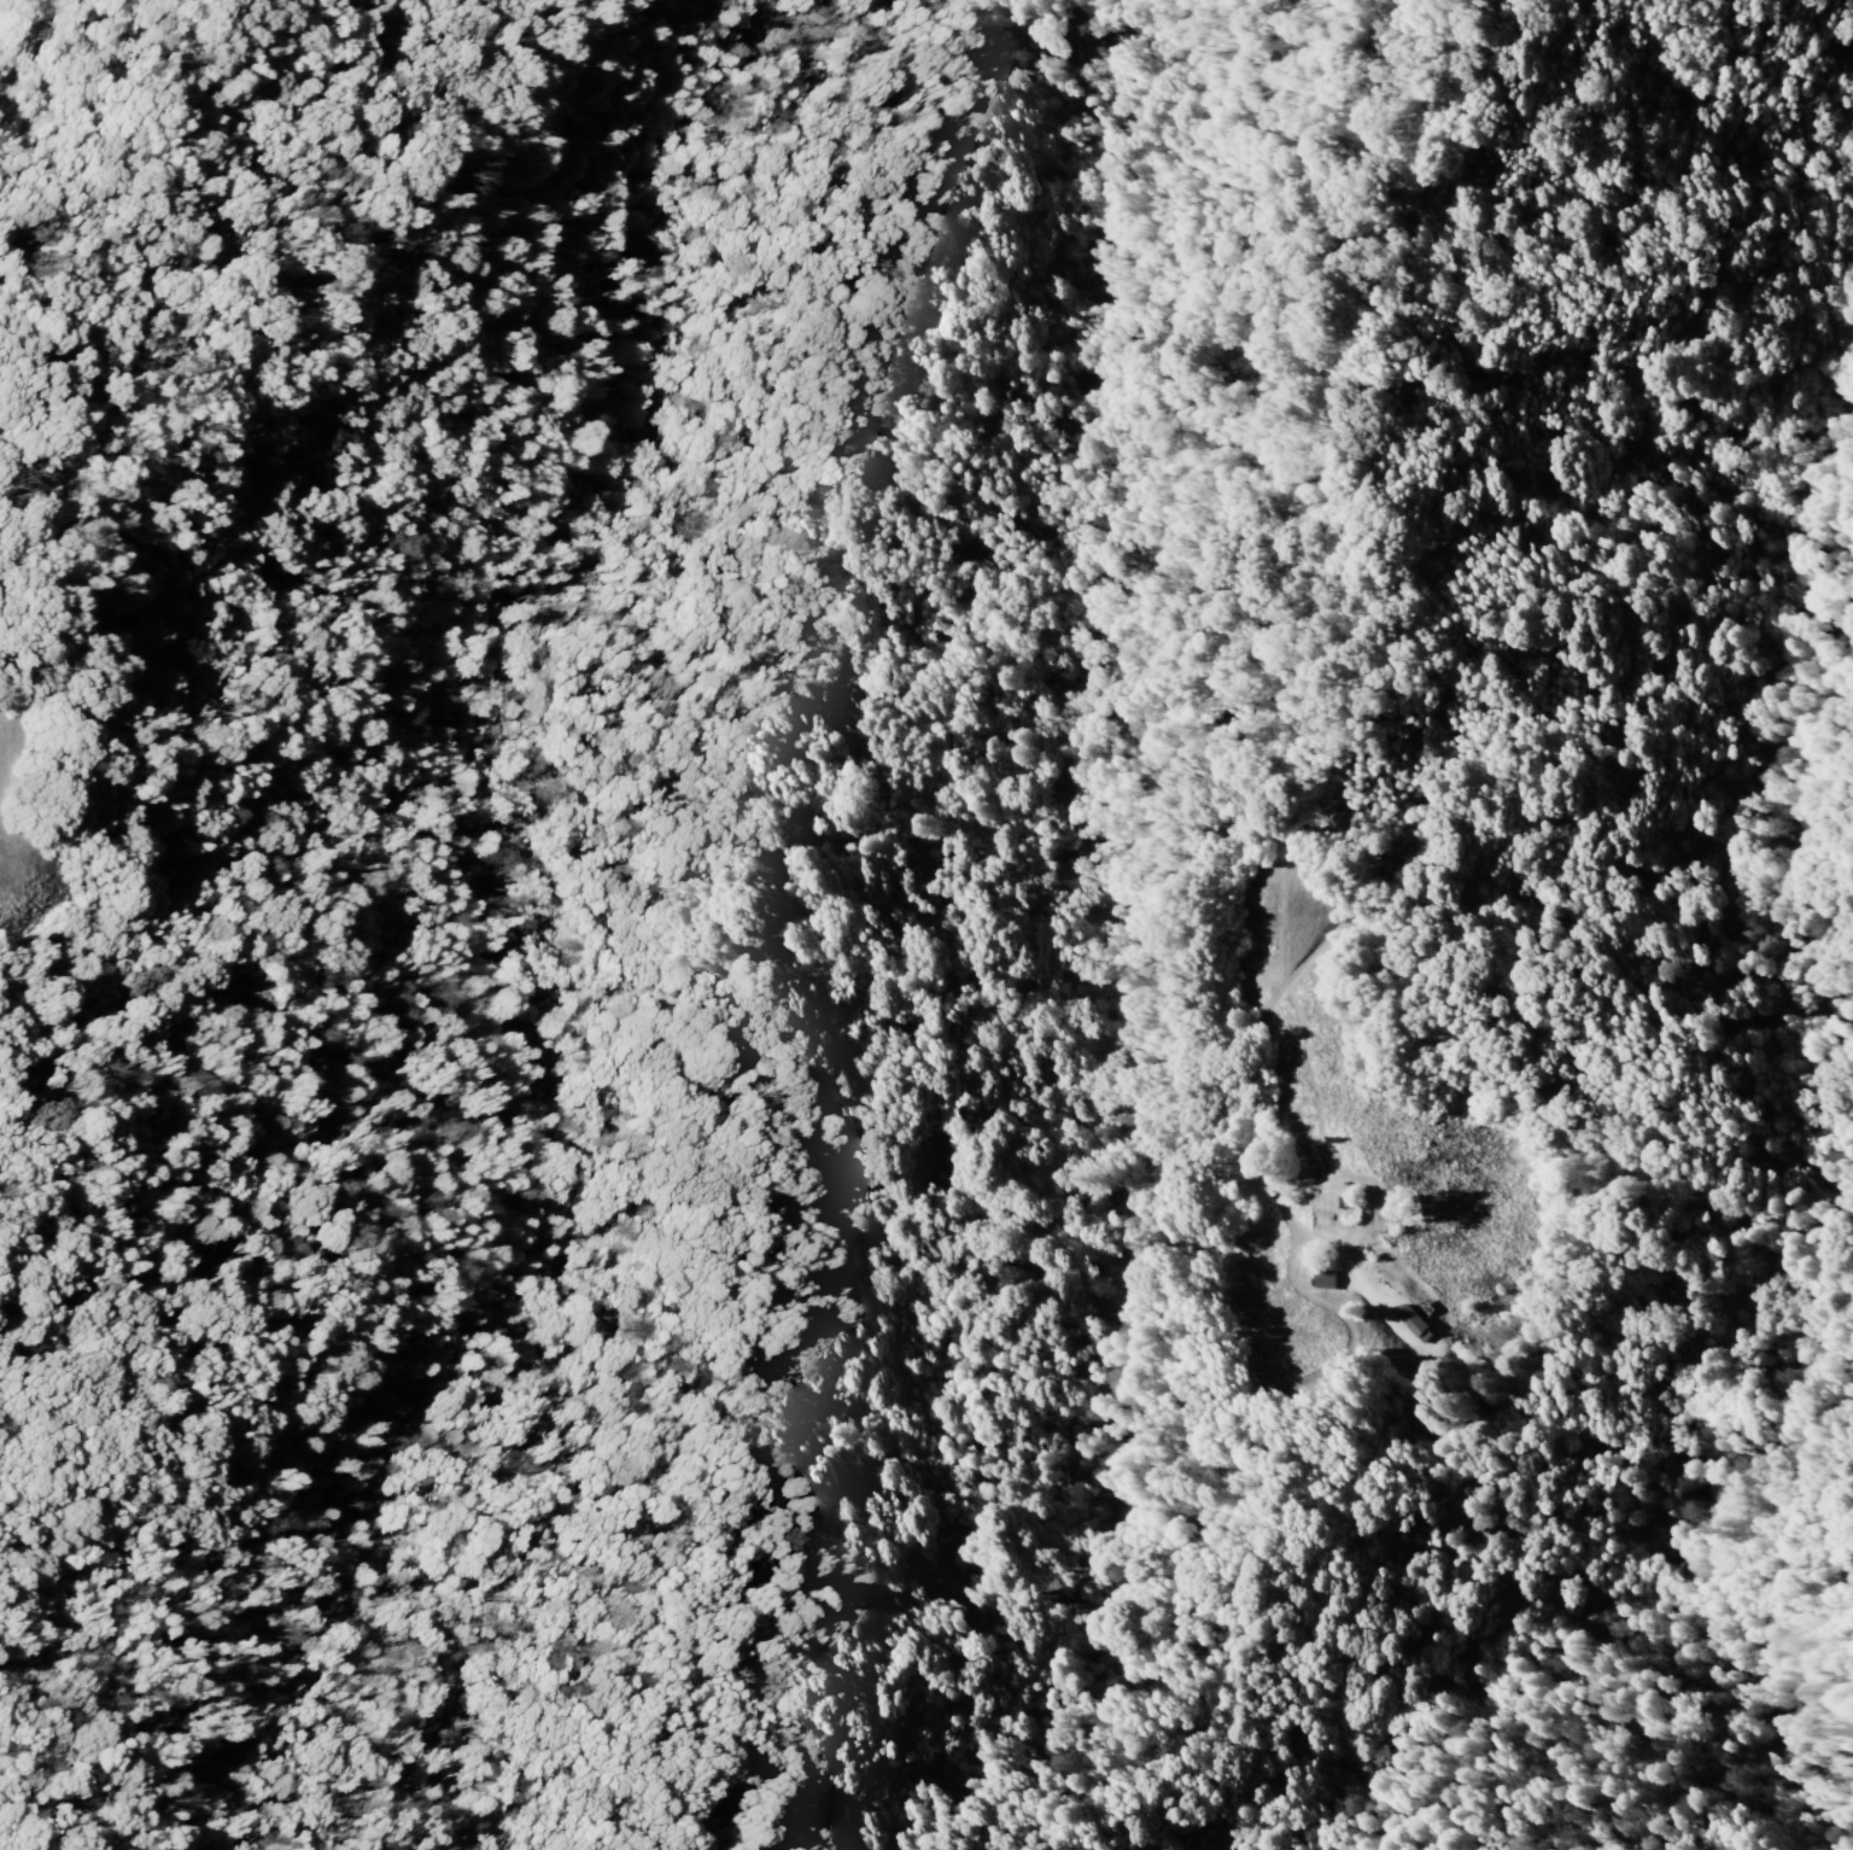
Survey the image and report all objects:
building: (1350, 1245)
building: (1417, 1321)

